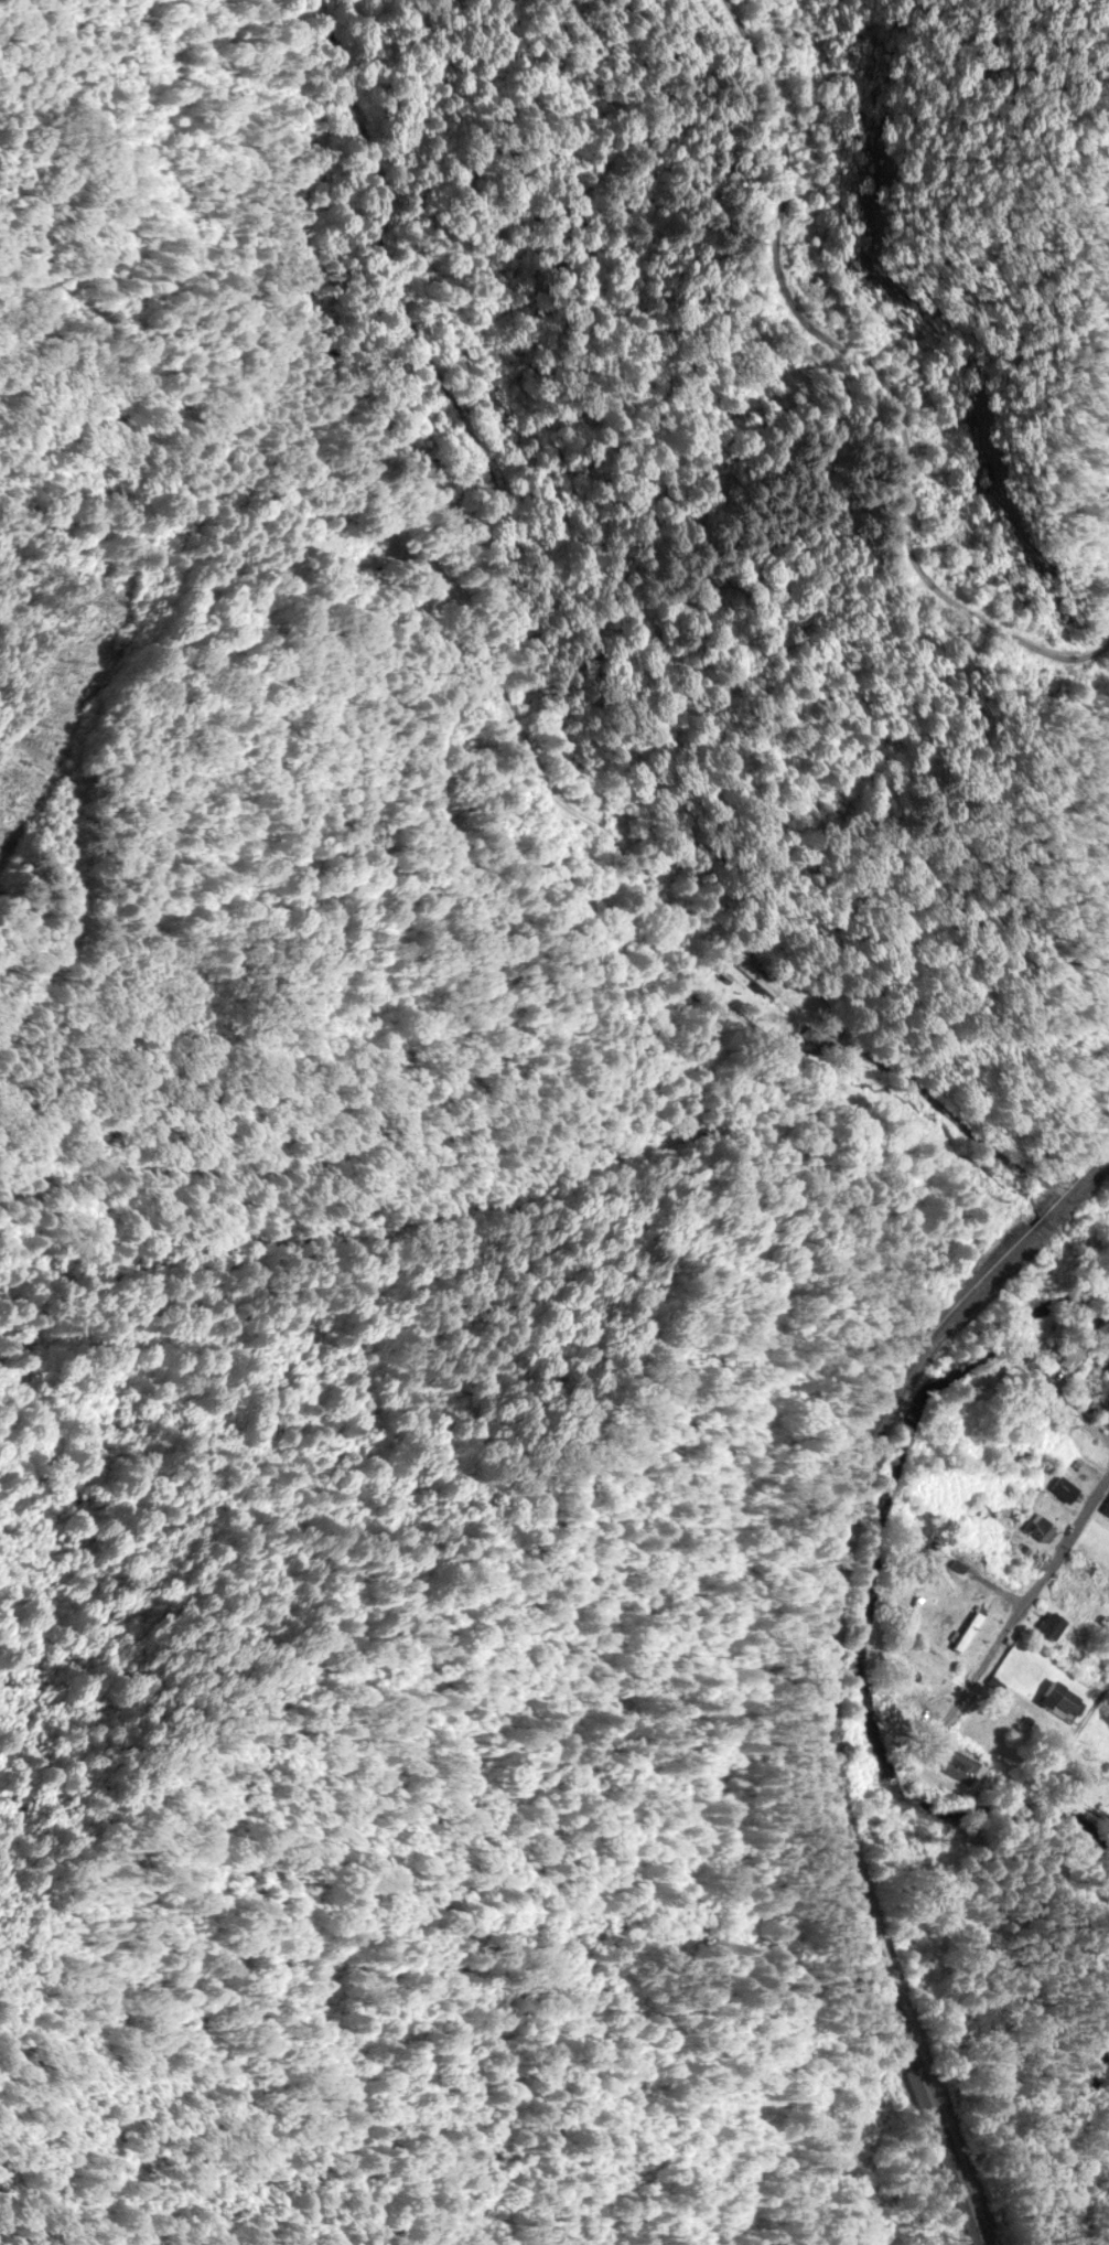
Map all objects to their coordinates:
building: (758, 982)
road: (751, 1036)
road: (1094, 1186)
building: (1106, 1333)
building: (1072, 1353)
road: (1096, 1430)
building: (1065, 1493)
building: (1106, 1510)
building: (1042, 1531)
road: (1042, 1575)
building: (1081, 1596)
building: (1053, 1627)
railway: (822, 1661)
building: (932, 1682)
building: (1063, 1703)

